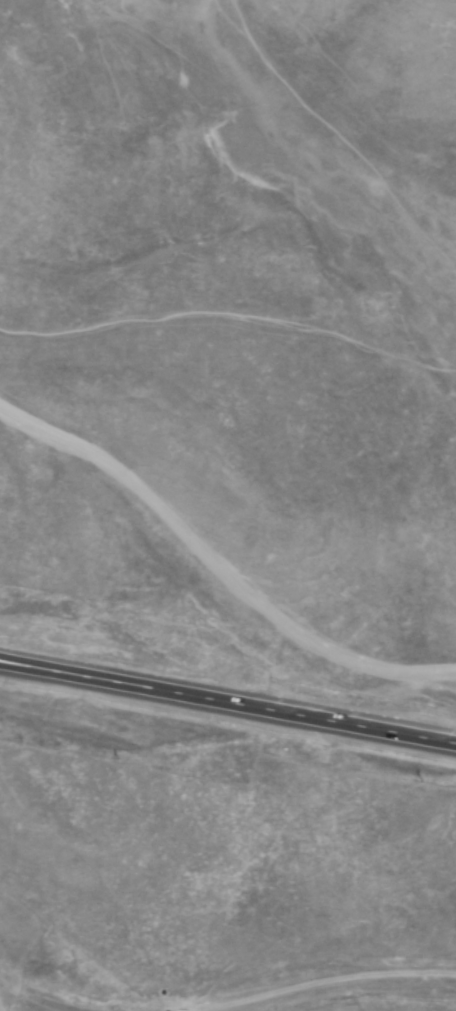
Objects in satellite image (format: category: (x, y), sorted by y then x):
road: (228, 715)

